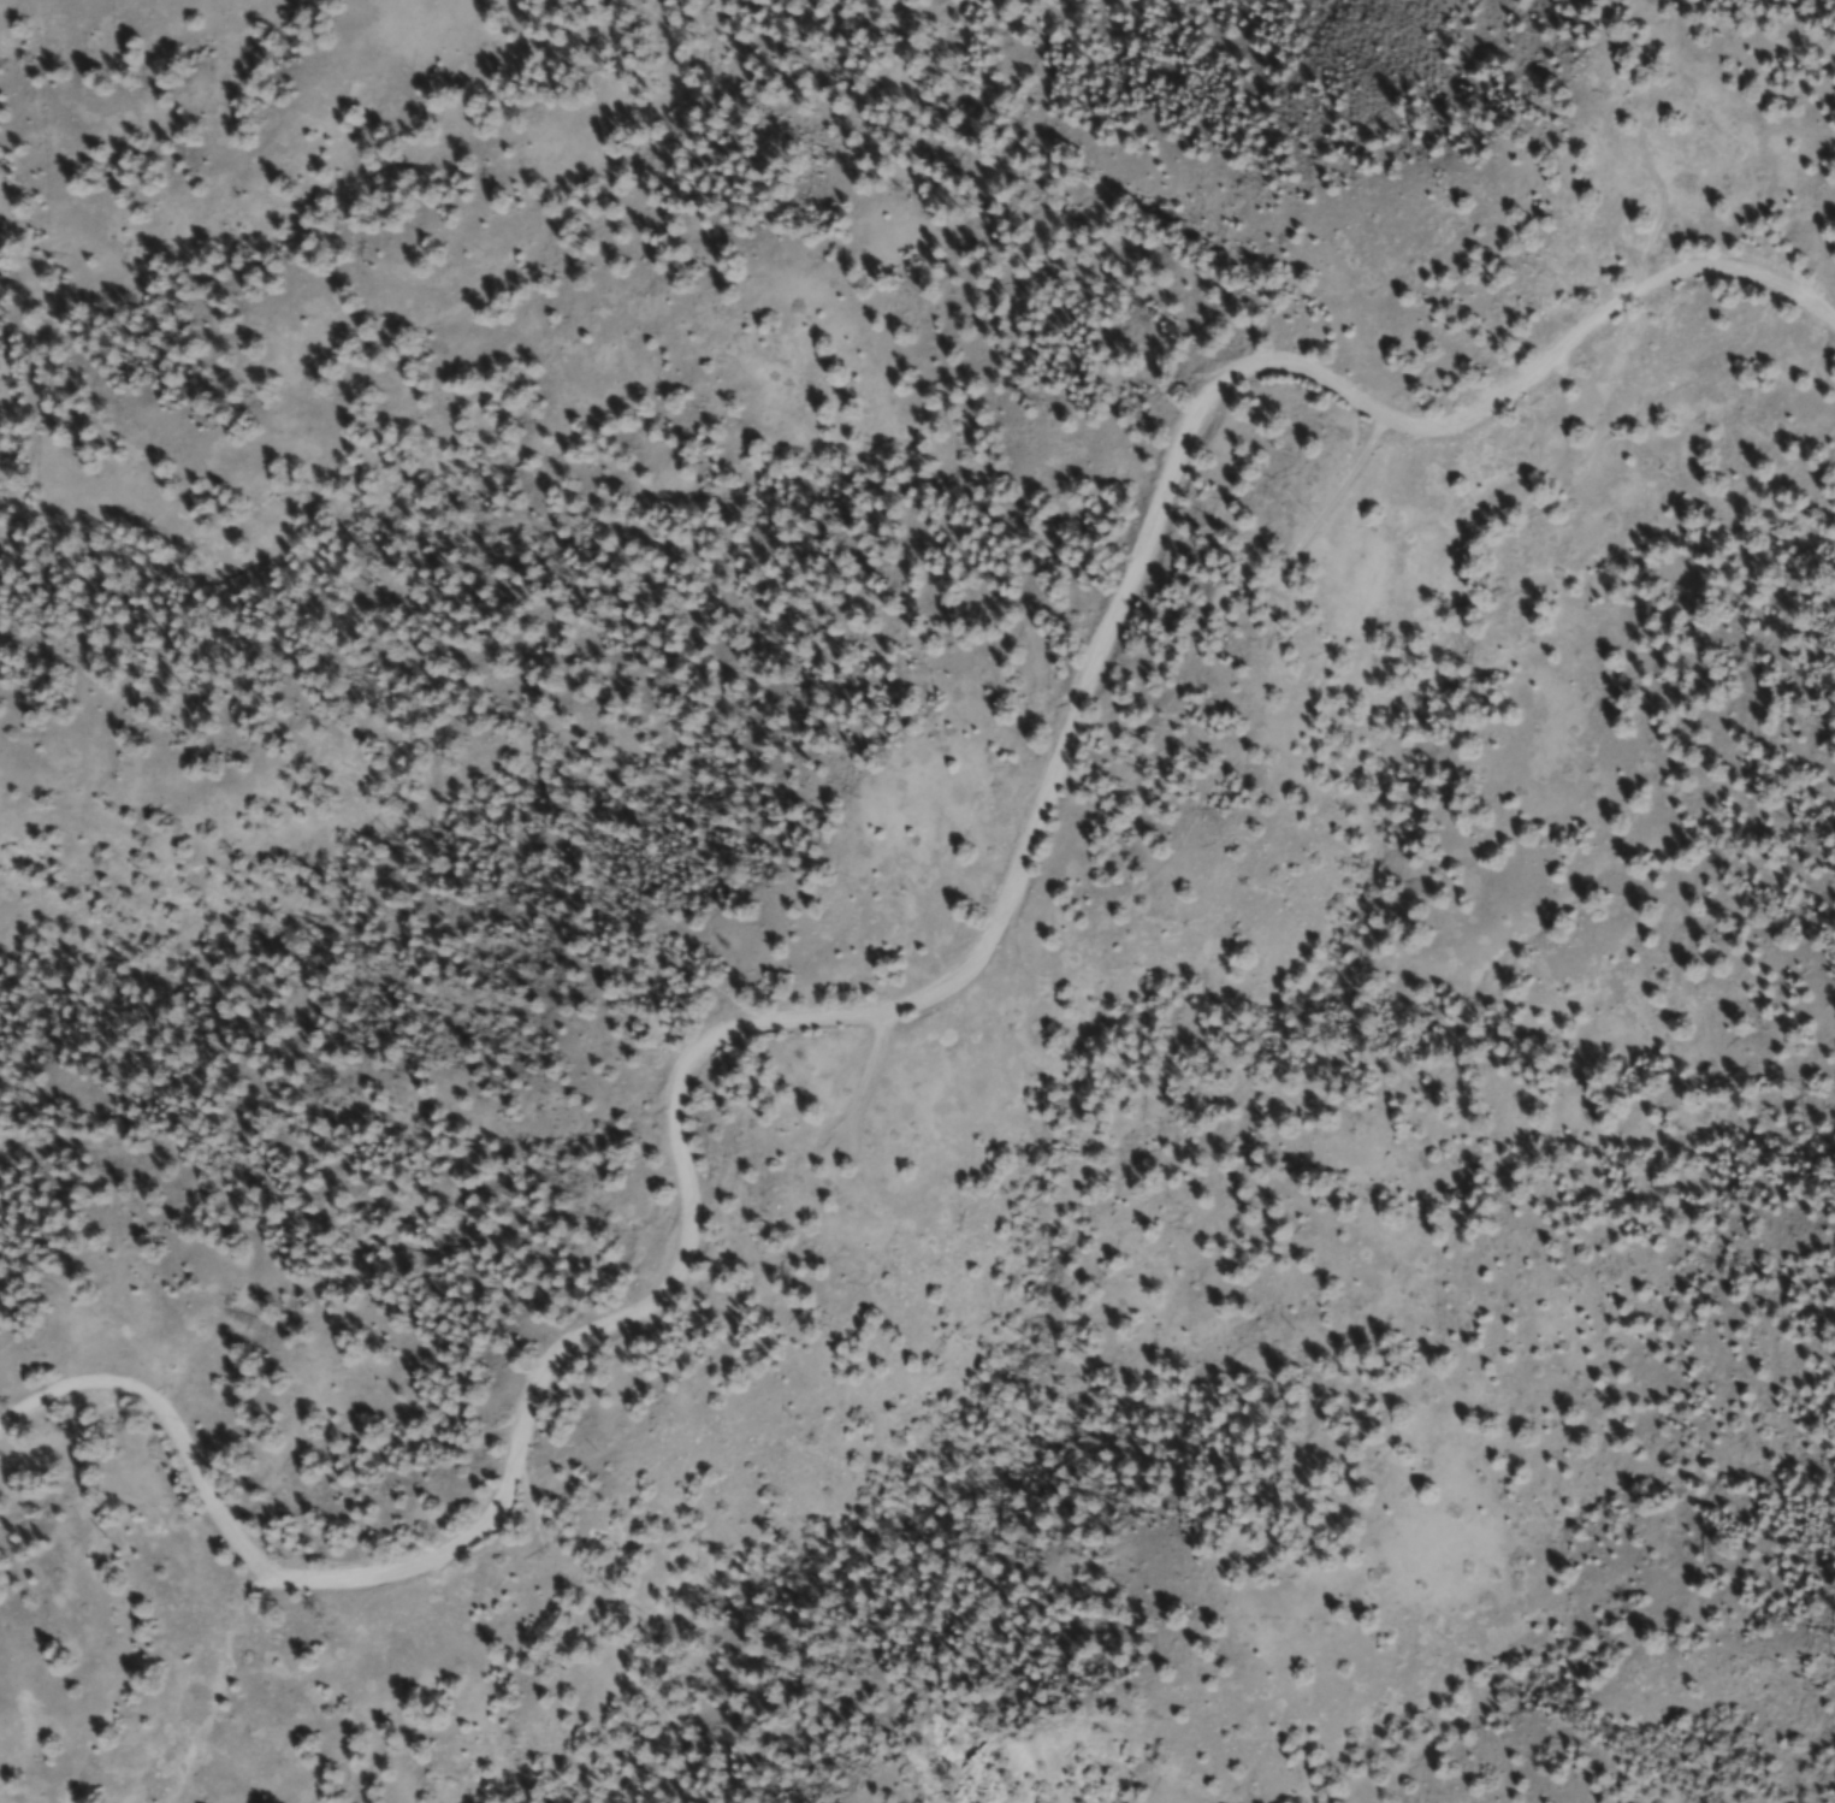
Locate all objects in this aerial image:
road: (905, 1003)

